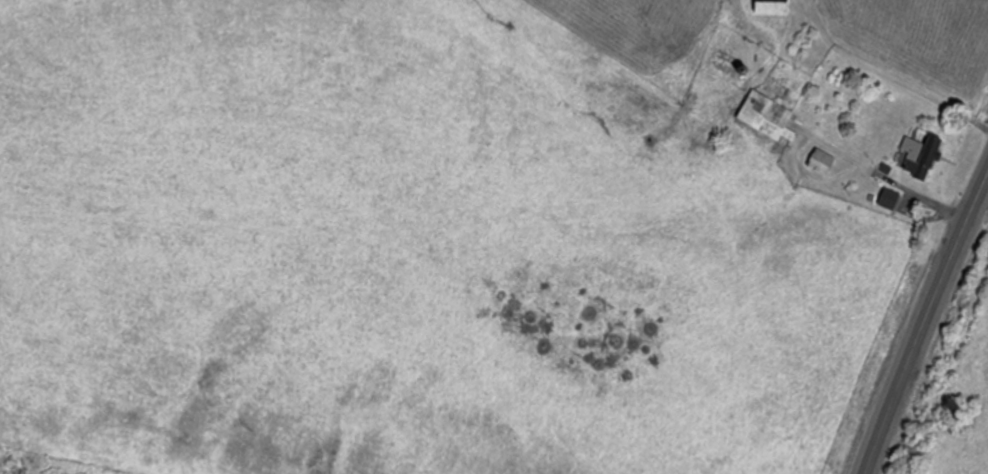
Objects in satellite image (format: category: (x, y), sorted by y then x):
building: (771, 6)
building: (766, 116)
building: (920, 155)
building: (821, 161)
building: (889, 198)
road: (923, 322)
building: (959, 410)
silo: (959, 410)

